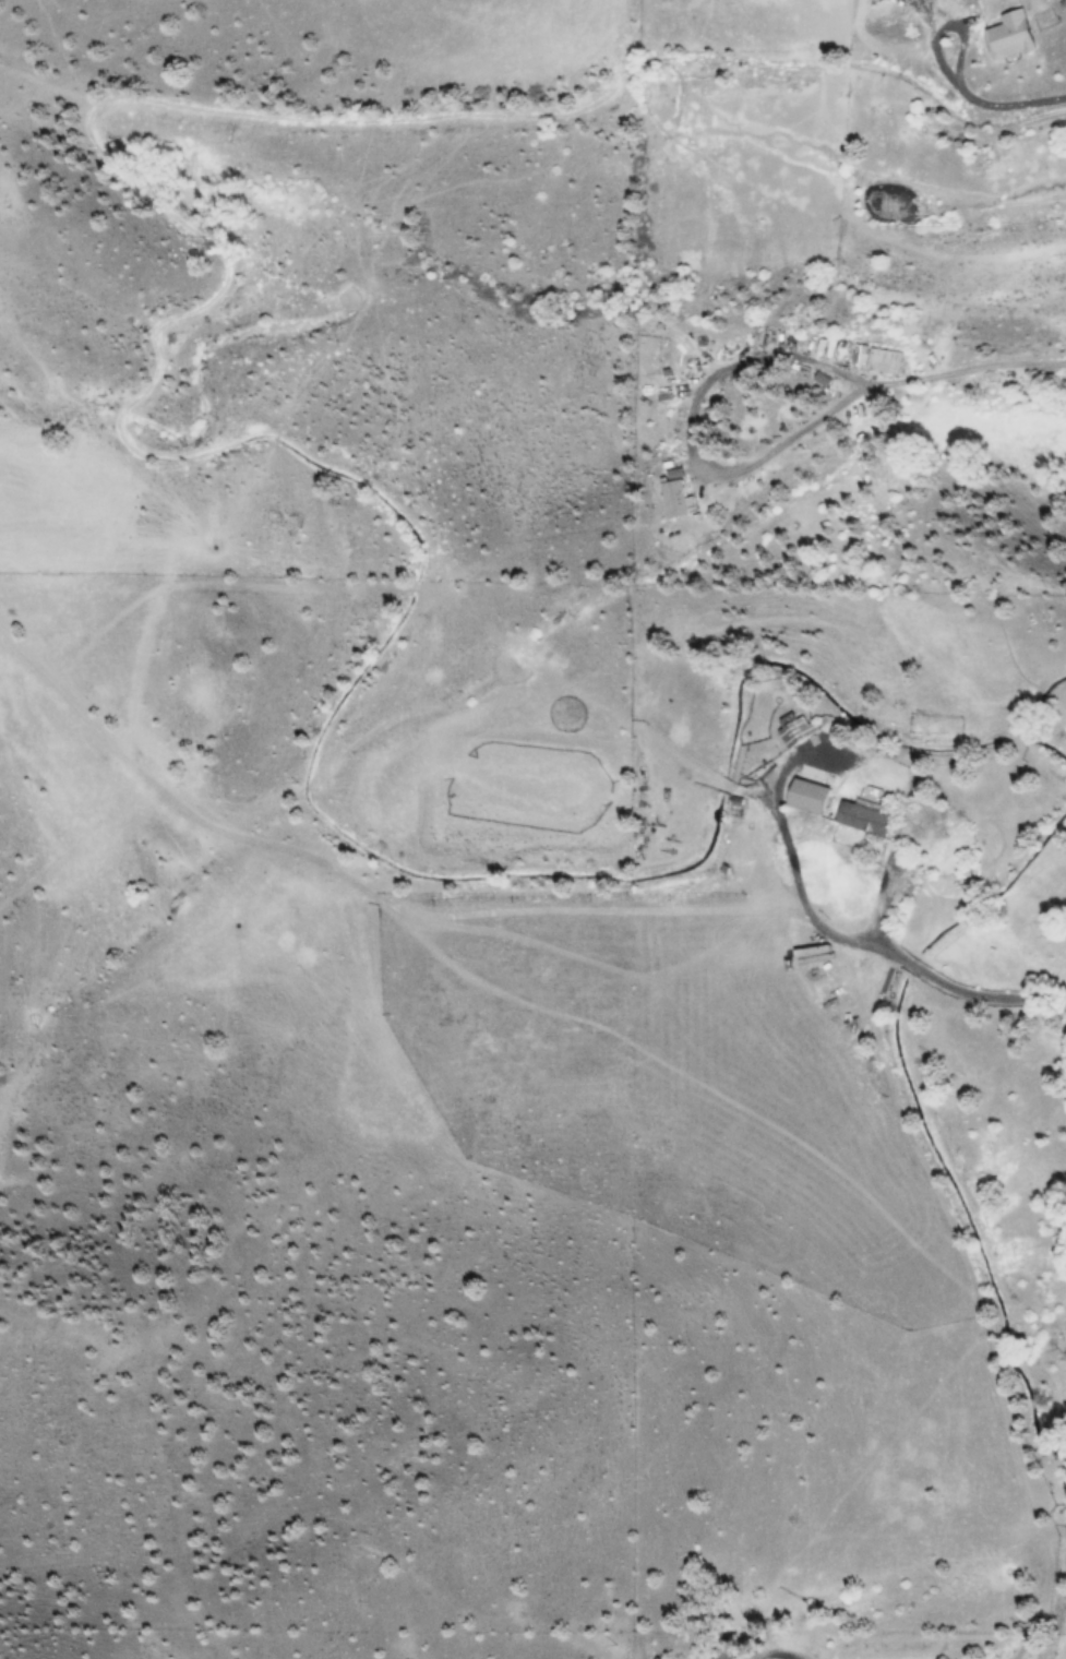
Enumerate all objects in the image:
road: (947, 25)
building: (1003, 39)
road: (1017, 104)
building: (879, 361)
road: (963, 369)
road: (691, 432)
building: (670, 501)
building: (789, 731)
building: (802, 799)
building: (858, 819)
road: (848, 936)
building: (717, 1657)
building: (705, 1658)

